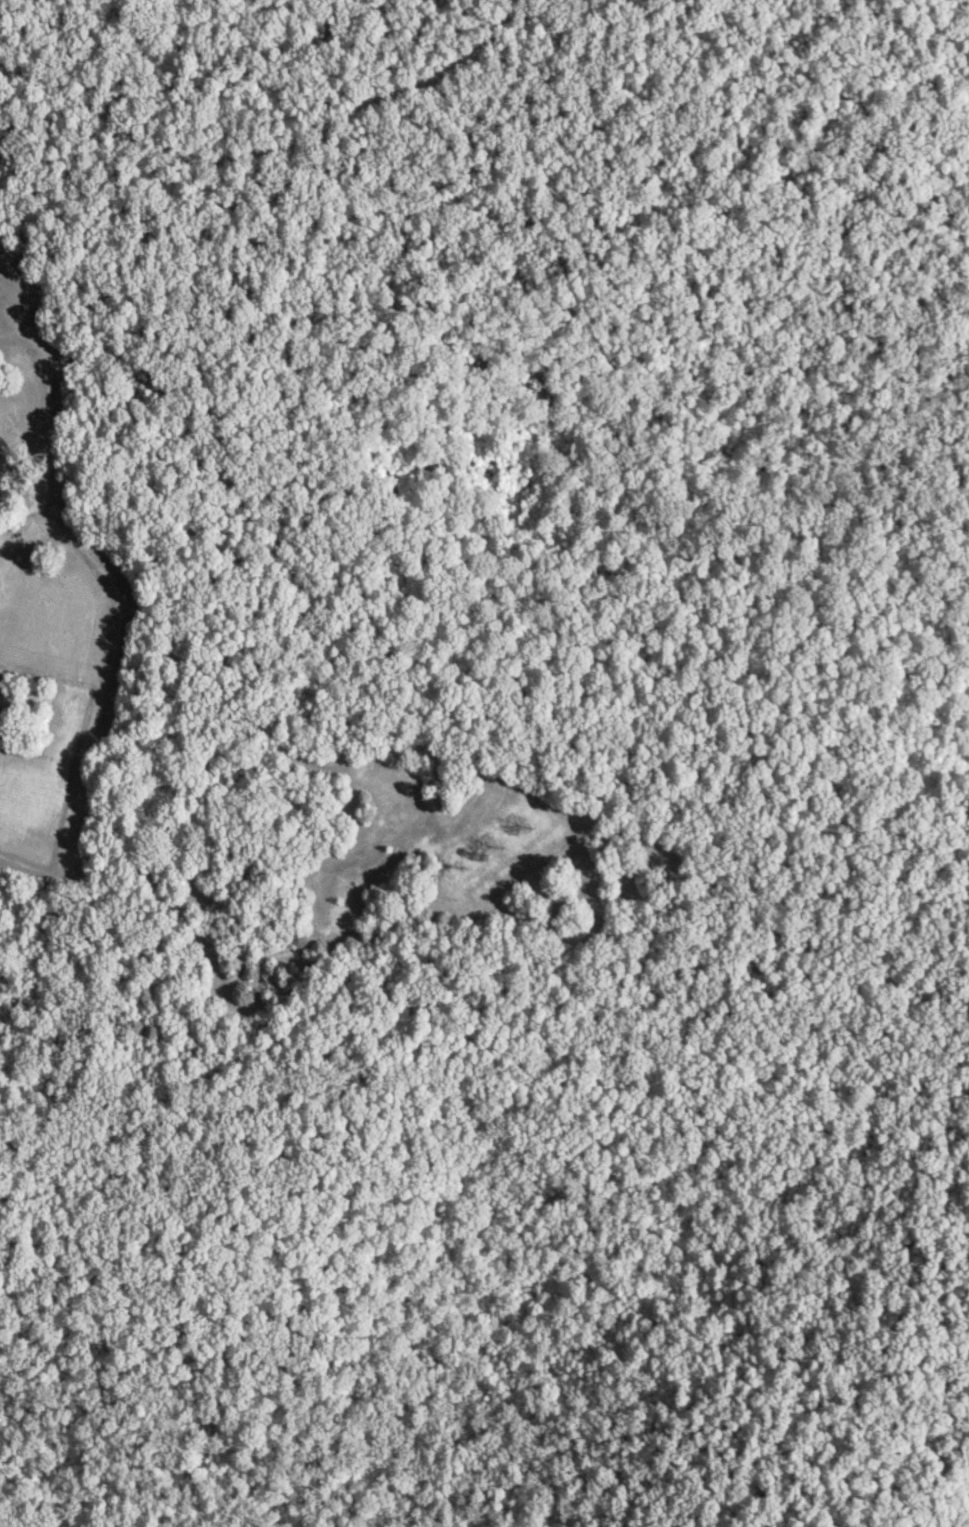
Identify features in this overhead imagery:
road: (268, 145)

